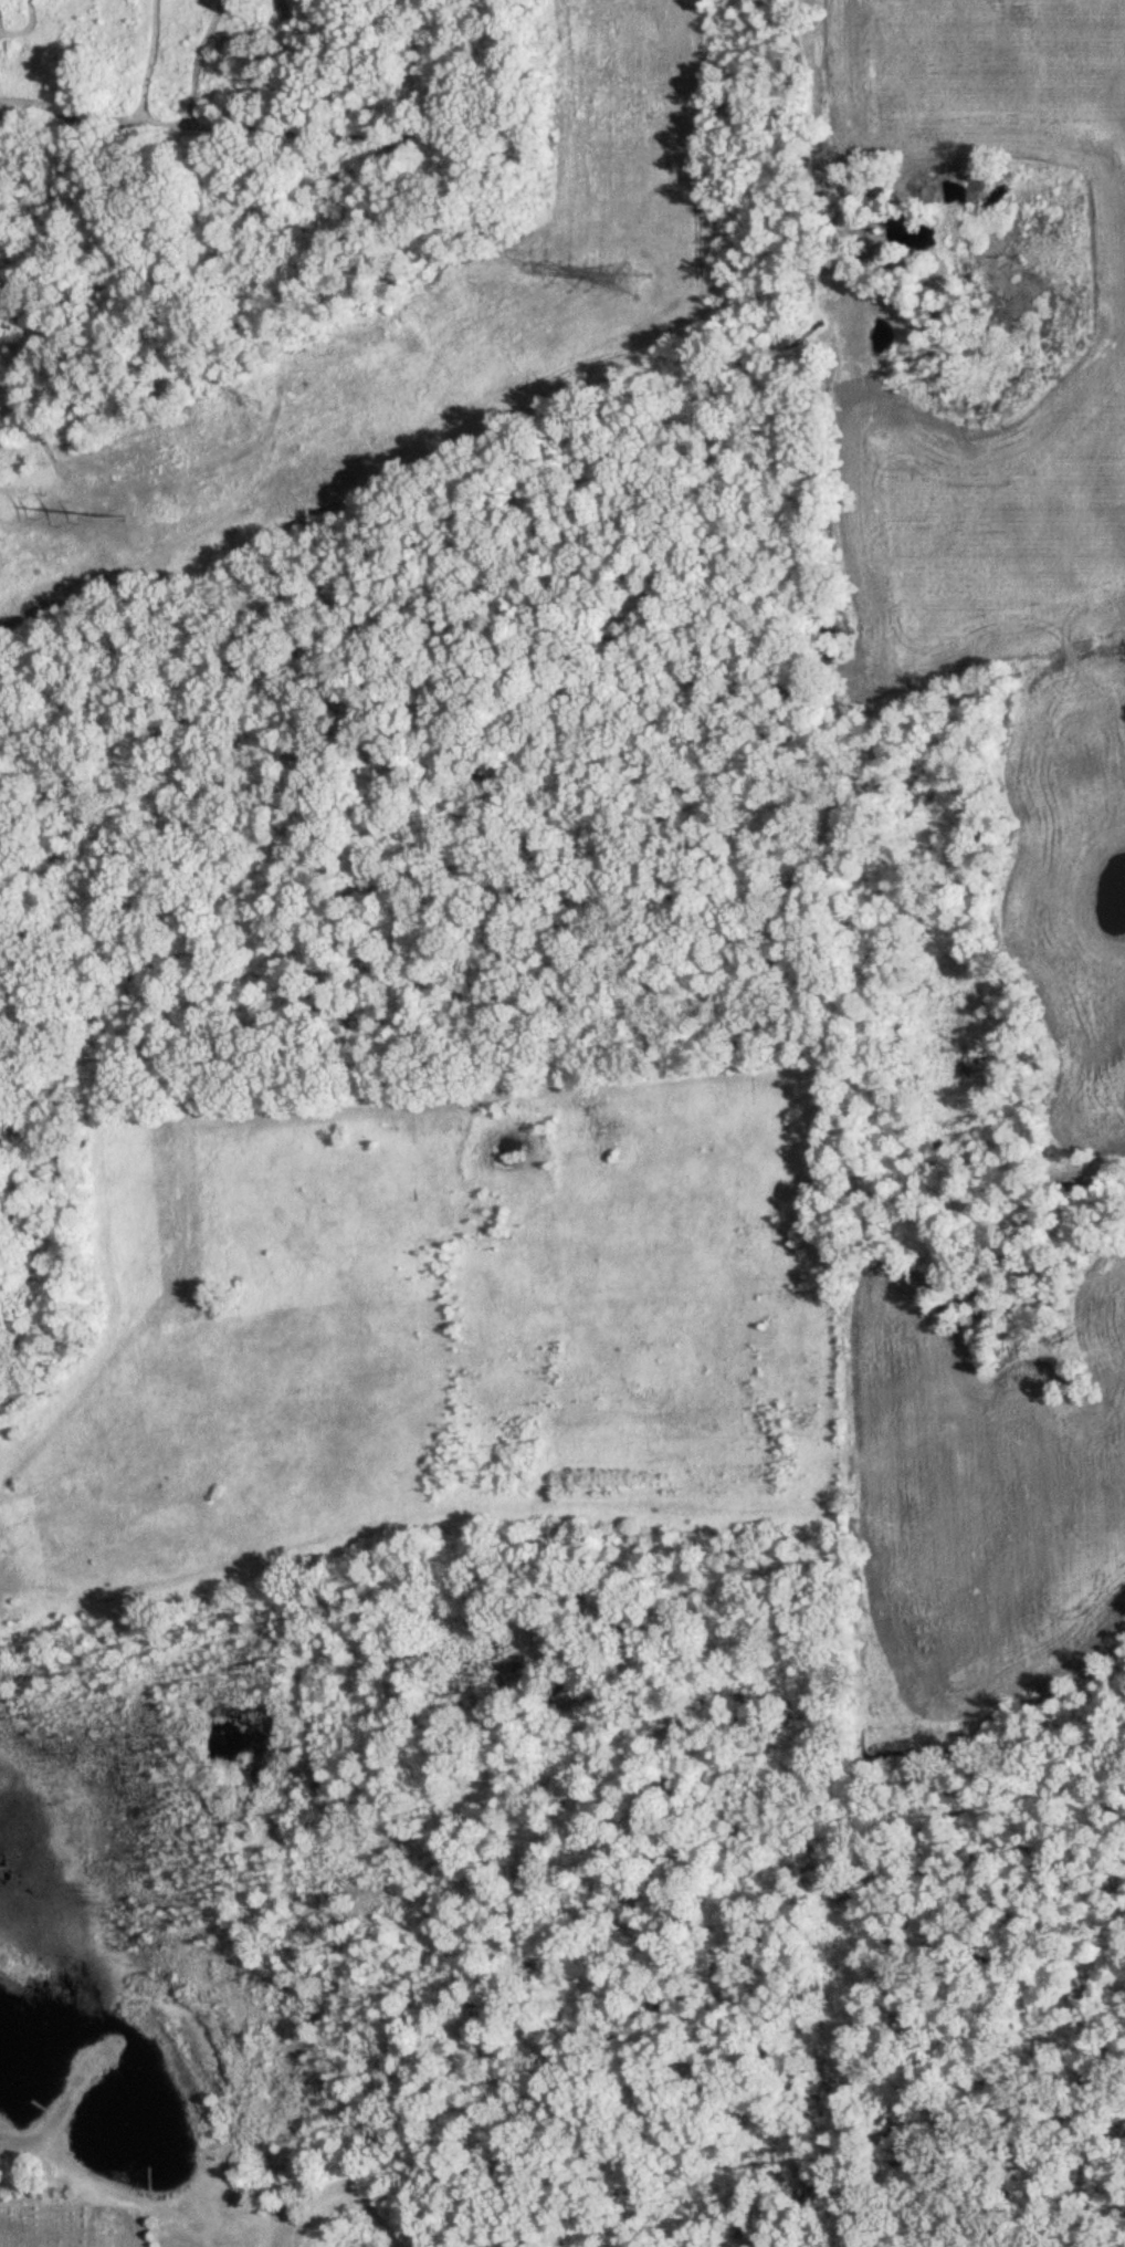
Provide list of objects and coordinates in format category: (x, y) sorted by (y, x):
power tower: (632, 280)
power tower: (120, 516)

